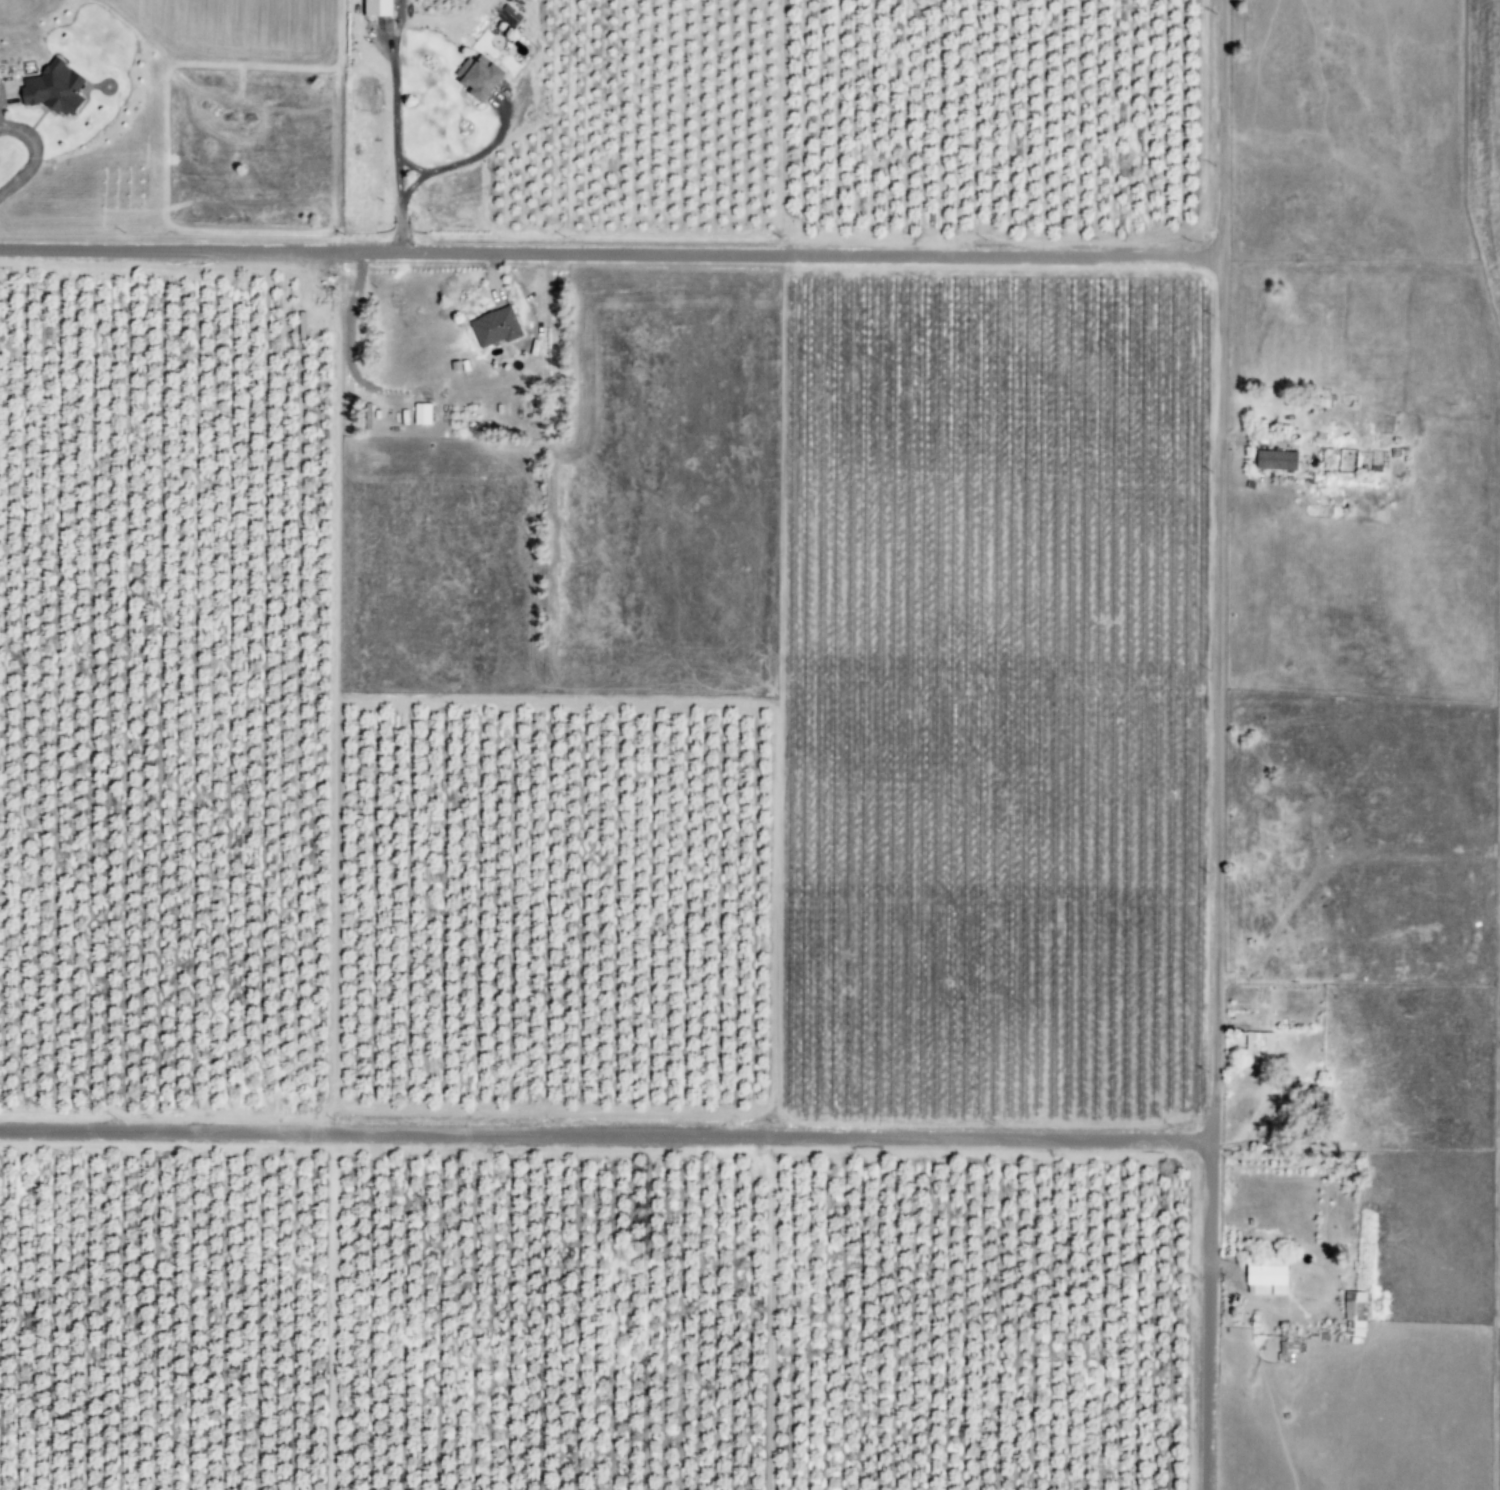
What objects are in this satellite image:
building: (372, 8)
building: (473, 79)
building: (49, 89)
road: (1219, 130)
road: (609, 255)
building: (492, 327)
building: (418, 413)
building: (1274, 460)
road: (1202, 701)
building: (1256, 1048)
road: (605, 1137)
building: (1264, 1277)
building: (1352, 1313)
road: (1206, 1315)

